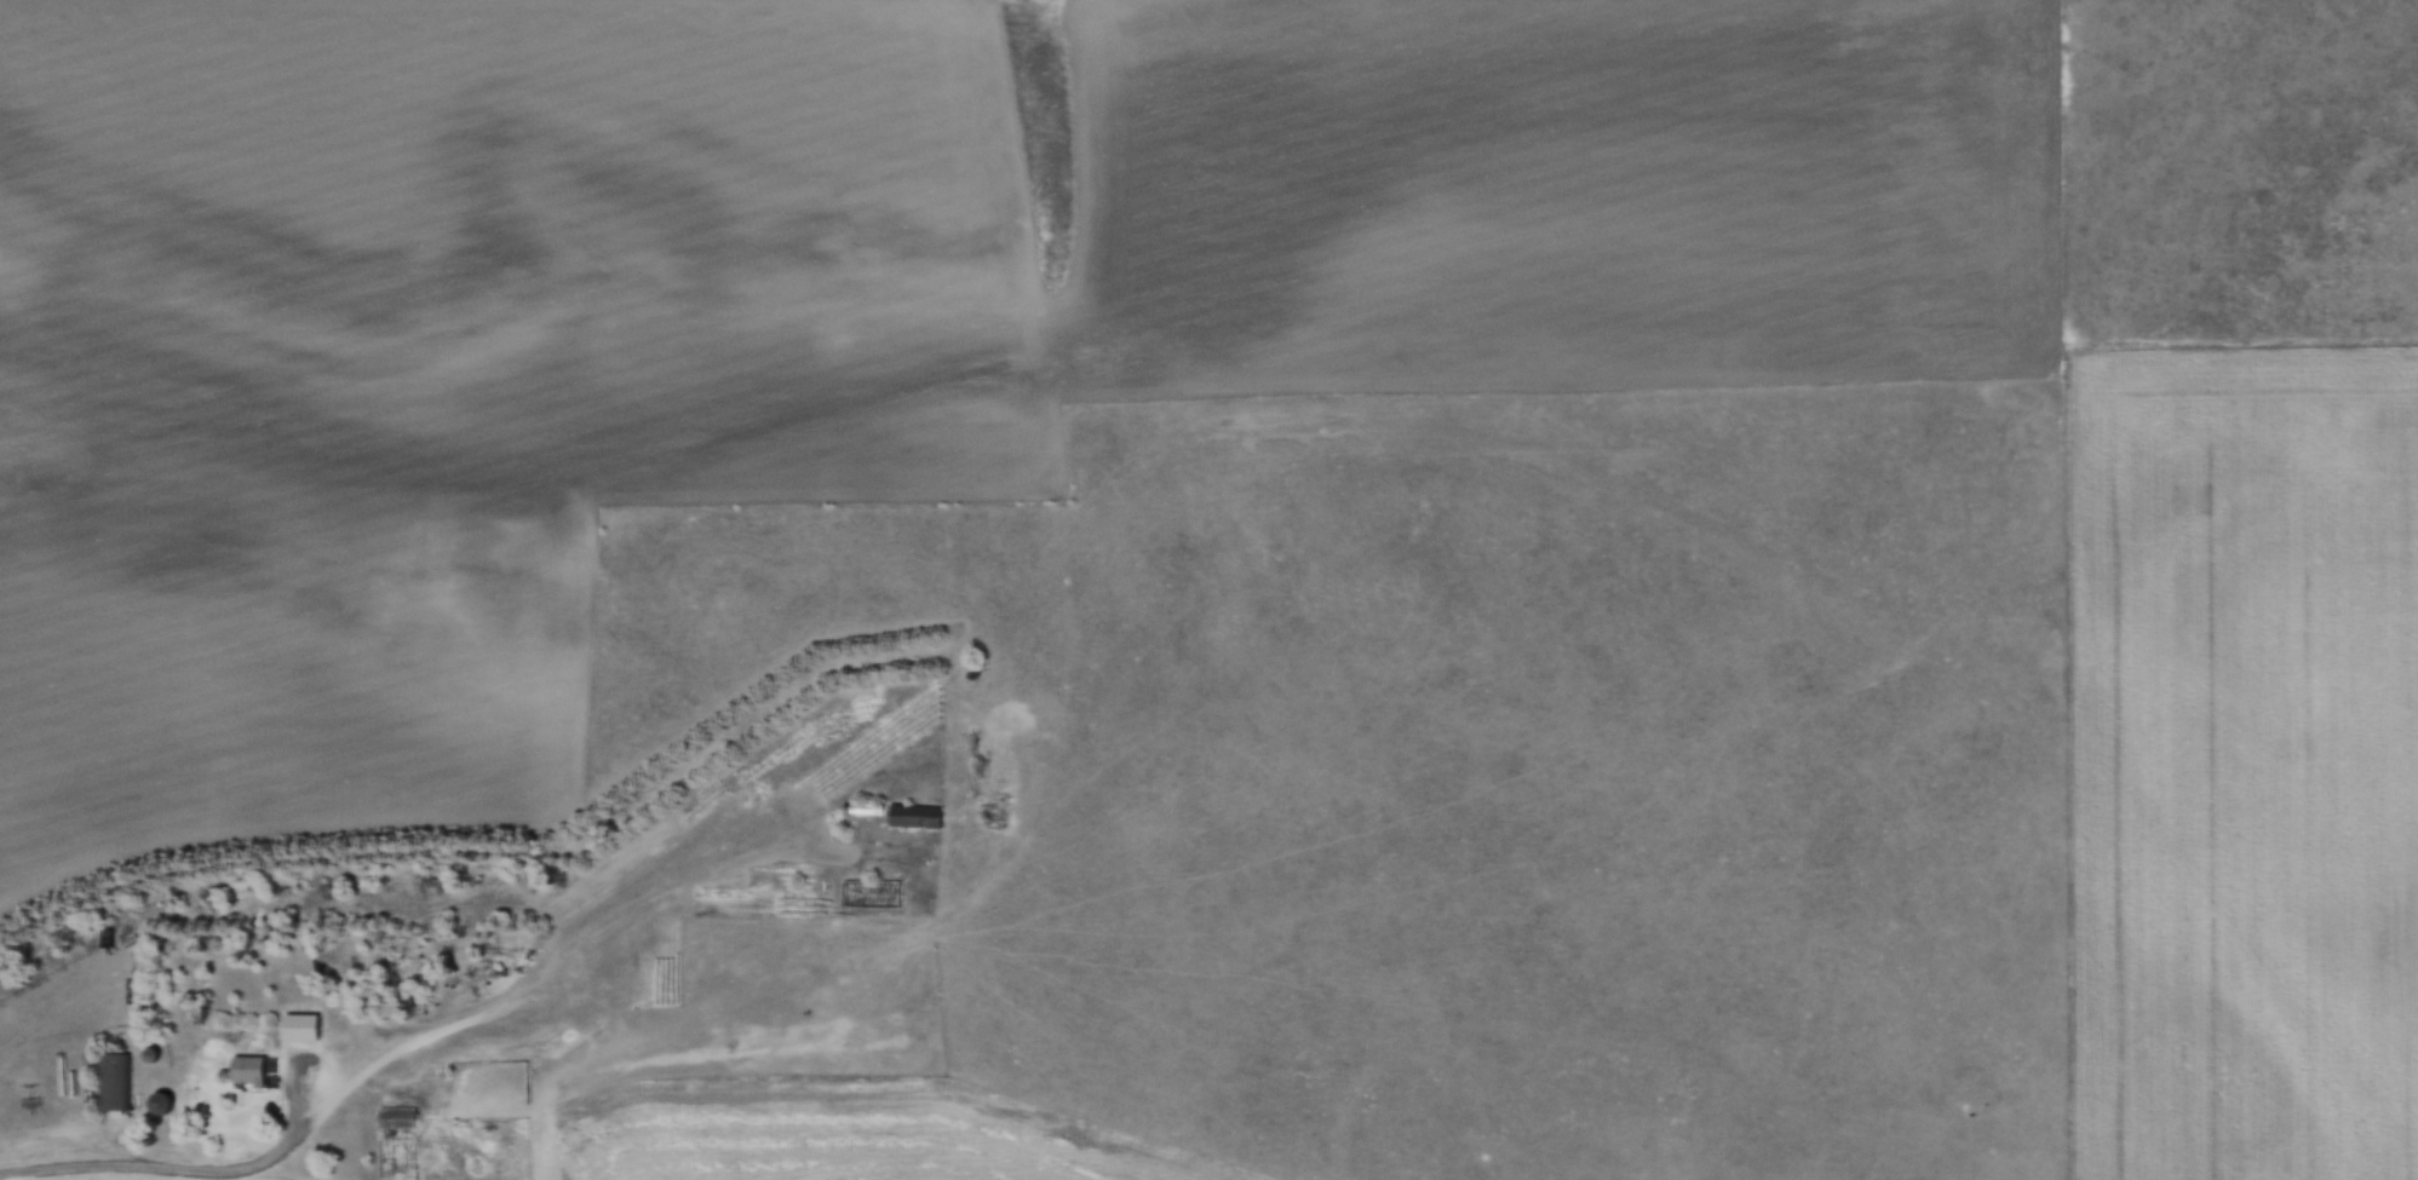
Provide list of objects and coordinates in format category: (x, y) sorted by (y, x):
building: (867, 807)
building: (915, 815)
building: (248, 1069)
building: (114, 1080)
building: (161, 1101)
building: (397, 1116)
road: (189, 1164)

